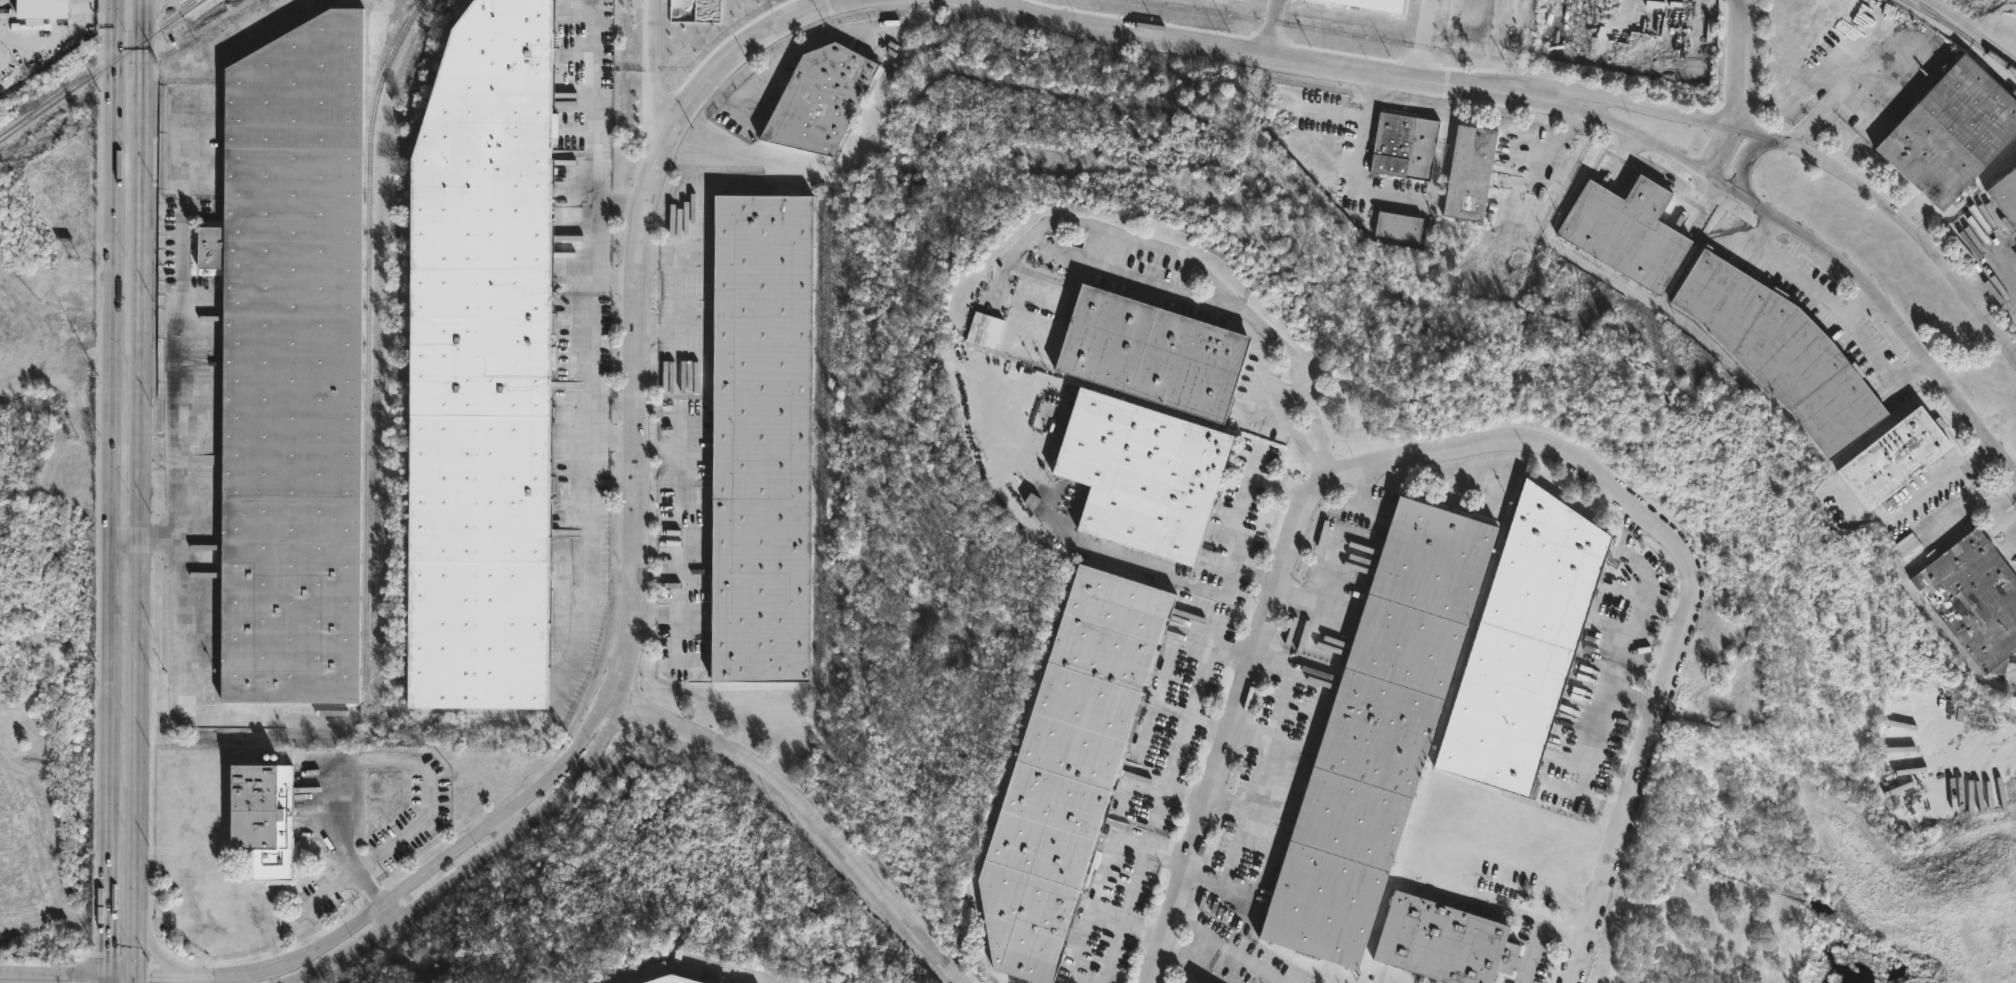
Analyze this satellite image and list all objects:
building: (43, 8)
road: (1271, 27)
railway: (1972, 29)
road: (59, 32)
railway: (1967, 35)
road: (1422, 38)
railway: (1961, 44)
railway: (1974, 47)
road: (1269, 56)
road: (1735, 62)
railway: (99, 68)
road: (1833, 96)
building: (823, 98)
road: (590, 103)
road: (1324, 111)
building: (1951, 134)
building: (1402, 147)
road: (1723, 151)
road: (1746, 161)
road: (1359, 164)
road: (1827, 166)
building: (1468, 174)
road: (1661, 177)
building: (2005, 196)
road: (617, 198)
building: (1397, 227)
building: (1625, 231)
road: (590, 236)
road: (1824, 247)
building: (1041, 271)
road: (614, 273)
road: (1992, 276)
road: (678, 289)
road: (1853, 300)
road: (1833, 307)
road: (638, 308)
road: (1236, 309)
building: (983, 328)
railway: (368, 334)
road: (187, 340)
railway: (404, 348)
building: (1148, 350)
building: (1780, 350)
building: (292, 364)
building: (481, 366)
road: (590, 375)
building: (762, 438)
road: (613, 439)
road: (1478, 442)
building: (1894, 456)
building: (1138, 472)
road: (1942, 475)
road: (110, 486)
road: (138, 491)
road: (1998, 511)
road: (1232, 518)
road: (678, 530)
road: (124, 540)
road: (656, 545)
road: (589, 559)
building: (1974, 599)
building: (1522, 643)
road: (1204, 658)
road: (1622, 670)
road: (1637, 699)
building: (1377, 727)
road: (1251, 734)
road: (389, 752)
road: (1176, 752)
building: (1067, 769)
road: (1259, 775)
road: (1228, 807)
road: (809, 815)
building: (264, 818)
road: (509, 823)
road: (467, 865)
road: (1101, 874)
road: (402, 890)
road: (1492, 896)
road: (392, 909)
road: (1539, 928)
building: (1441, 942)
road: (1230, 948)
road: (159, 951)
road: (1190, 965)
road: (54, 972)
traffic signals: (109, 973)
road: (122, 973)
traffic signals: (135, 973)
road: (109, 978)
building: (674, 978)
building: (1199, 982)
building: (1225, 982)

